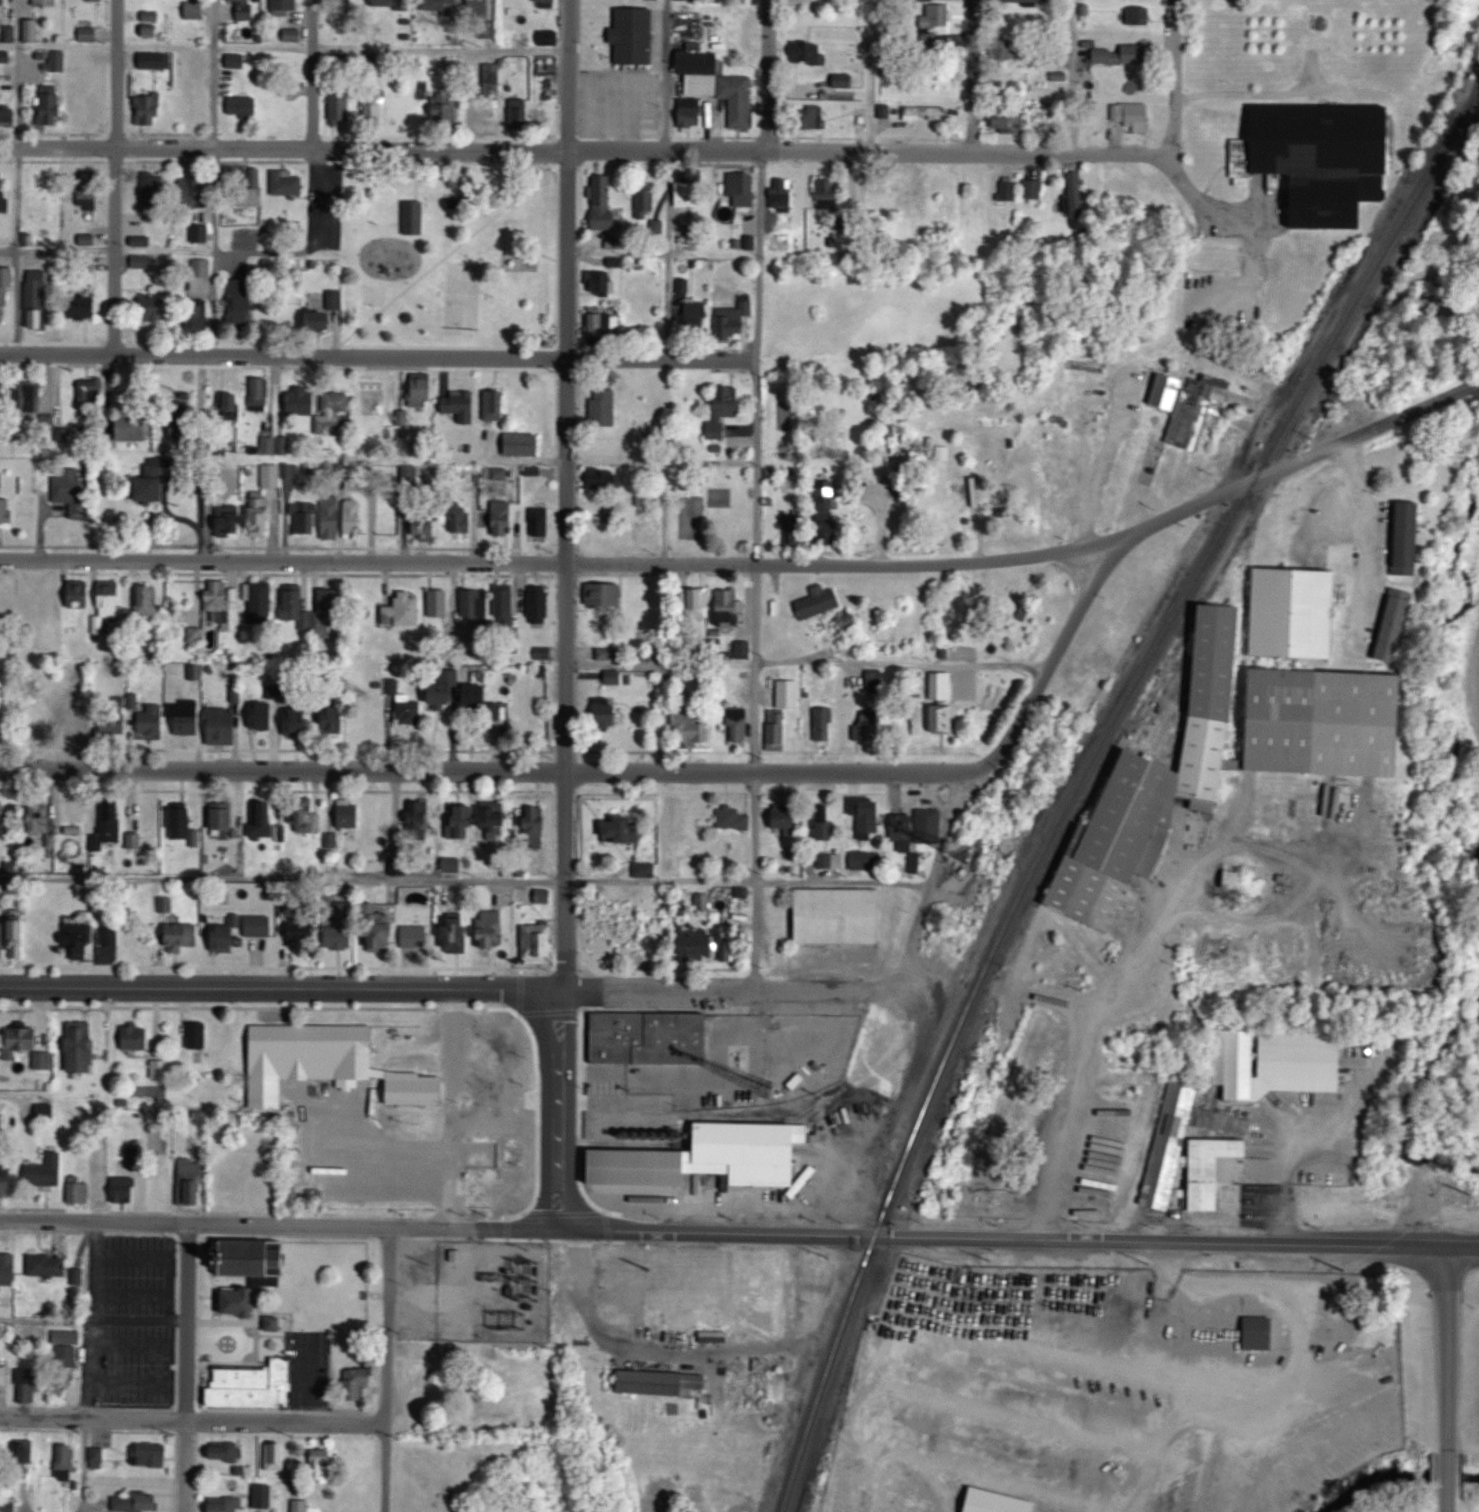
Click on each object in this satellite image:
building: (546, 1)
building: (46, 2)
building: (391, 4)
building: (286, 5)
building: (195, 9)
building: (245, 9)
building: (937, 15)
building: (1139, 15)
building: (151, 16)
road: (18, 22)
building: (32, 30)
building: (150, 31)
building: (89, 34)
building: (633, 36)
building: (549, 37)
road: (284, 47)
building: (1008, 49)
building: (807, 52)
building: (1123, 54)
building: (6, 57)
building: (155, 60)
building: (235, 60)
building: (57, 61)
road: (215, 73)
road: (312, 74)
road: (667, 74)
road: (765, 74)
road: (871, 74)
road: (974, 74)
road: (1073, 75)
road: (1176, 78)
building: (844, 80)
building: (718, 85)
road: (18, 95)
building: (196, 101)
building: (51, 105)
building: (375, 105)
building: (242, 106)
building: (341, 106)
building: (411, 107)
building: (446, 107)
building: (149, 110)
building: (95, 112)
building: (691, 112)
building: (925, 113)
building: (1131, 114)
building: (813, 117)
building: (8, 118)
building: (1006, 124)
building: (1317, 141)
road: (586, 149)
road: (116, 176)
building: (288, 183)
building: (1075, 186)
building: (153, 187)
building: (251, 187)
building: (742, 189)
building: (1034, 189)
building: (1009, 190)
building: (3, 191)
building: (195, 191)
building: (828, 193)
building: (869, 193)
building: (782, 194)
building: (689, 195)
road: (17, 198)
road: (216, 201)
building: (645, 204)
road: (1209, 204)
building: (604, 211)
building: (415, 217)
building: (88, 239)
park: (449, 253)
road: (205, 254)
road: (667, 254)
building: (145, 261)
building: (202, 267)
building: (600, 282)
railway: (1369, 292)
building: (39, 300)
building: (242, 302)
road: (217, 304)
building: (151, 308)
building: (84, 311)
building: (696, 315)
building: (199, 317)
building: (318, 320)
building: (597, 322)
building: (734, 325)
road: (376, 355)
road: (568, 387)
building: (421, 388)
building: (4, 392)
building: (258, 394)
building: (34, 397)
building: (302, 400)
building: (1346, 401)
building: (494, 404)
building: (1202, 405)
building: (334, 406)
building: (461, 406)
building: (725, 411)
building: (135, 428)
building: (182, 429)
railway: (1287, 437)
railway: (1284, 438)
building: (524, 444)
building: (943, 453)
road: (665, 461)
road: (1302, 461)
road: (1104, 464)
road: (186, 467)
building: (501, 473)
building: (272, 475)
building: (1, 480)
building: (605, 480)
building: (152, 490)
building: (73, 492)
building: (825, 499)
building: (612, 511)
building: (6, 513)
building: (262, 517)
building: (503, 518)
building: (354, 519)
building: (461, 519)
road: (1361, 519)
building: (307, 520)
building: (333, 520)
building: (541, 522)
building: (230, 524)
building: (424, 526)
building: (794, 530)
building: (1410, 538)
railway: (1246, 545)
road: (564, 562)
road: (755, 568)
building: (80, 593)
building: (610, 594)
building: (111, 597)
building: (148, 599)
building: (220, 599)
building: (262, 599)
building: (645, 600)
building: (439, 601)
building: (820, 601)
building: (699, 603)
building: (540, 605)
building: (505, 606)
building: (727, 608)
building: (474, 609)
building: (403, 610)
building: (1294, 611)
building: (848, 620)
building: (1397, 624)
building: (543, 652)
railway: (1161, 653)
building: (607, 654)
road: (901, 665)
building: (613, 677)
building: (445, 687)
building: (476, 693)
building: (788, 693)
building: (262, 713)
building: (606, 715)
building: (297, 717)
building: (944, 717)
building: (186, 718)
building: (335, 718)
building: (152, 719)
building: (824, 721)
building: (77, 722)
building: (113, 723)
building: (919, 723)
building: (738, 724)
building: (222, 725)
building: (871, 726)
building: (691, 728)
building: (776, 730)
building: (1231, 755)
road: (279, 770)
road: (906, 772)
railway: (1082, 778)
building: (419, 812)
building: (349, 813)
building: (1, 815)
building: (307, 815)
building: (266, 816)
building: (868, 816)
building: (225, 818)
building: (788, 818)
building: (43, 820)
building: (467, 820)
building: (181, 822)
building: (499, 822)
building: (109, 825)
building: (674, 825)
building: (918, 825)
building: (625, 828)
building: (535, 829)
building: (825, 829)
building: (830, 860)
building: (865, 860)
building: (645, 868)
building: (1235, 878)
road: (529, 880)
road: (566, 881)
building: (533, 895)
building: (839, 915)
building: (259, 925)
building: (490, 928)
building: (303, 929)
building: (456, 932)
building: (226, 934)
building: (341, 934)
building: (381, 934)
building: (417, 935)
building: (182, 936)
building: (19, 937)
building: (4, 938)
building: (538, 941)
building: (92, 942)
building: (591, 947)
road: (908, 947)
building: (731, 948)
road: (283, 985)
road: (718, 989)
building: (198, 1034)
road: (1086, 1035)
building: (136, 1037)
building: (651, 1037)
building: (24, 1038)
building: (494, 1040)
building: (81, 1046)
building: (324, 1046)
building: (1278, 1061)
building: (160, 1068)
building: (416, 1089)
road: (449, 1106)
road: (566, 1110)
building: (1195, 1150)
building: (712, 1157)
building: (46, 1173)
building: (191, 1180)
building: (100, 1181)
building: (8, 1185)
building: (161, 1187)
building: (1000, 1187)
building: (124, 1188)
building: (230, 1190)
road: (283, 1222)
road: (1022, 1239)
building: (263, 1260)
building: (823, 1263)
building: (49, 1264)
building: (8, 1271)
building: (629, 1281)
power substation: (494, 1289)
building: (241, 1300)
road: (1157, 1305)
road: (46, 1319)
road: (92, 1320)
building: (276, 1321)
building: (1260, 1331)
road: (701, 1350)
building: (67, 1356)
road: (186, 1366)
road: (386, 1368)
building: (4, 1376)
road: (306, 1380)
building: (357, 1382)
building: (661, 1382)
road: (1447, 1382)
building: (28, 1385)
building: (253, 1385)
road: (192, 1420)
building: (224, 1451)
building: (150, 1454)
building: (25, 1455)
building: (275, 1455)
building: (98, 1457)
building: (360, 1460)
building: (66, 1461)
building: (322, 1465)
road: (85, 1466)
building: (263, 1495)
building: (136, 1501)
building: (999, 1502)
building: (224, 1503)
building: (301, 1506)

